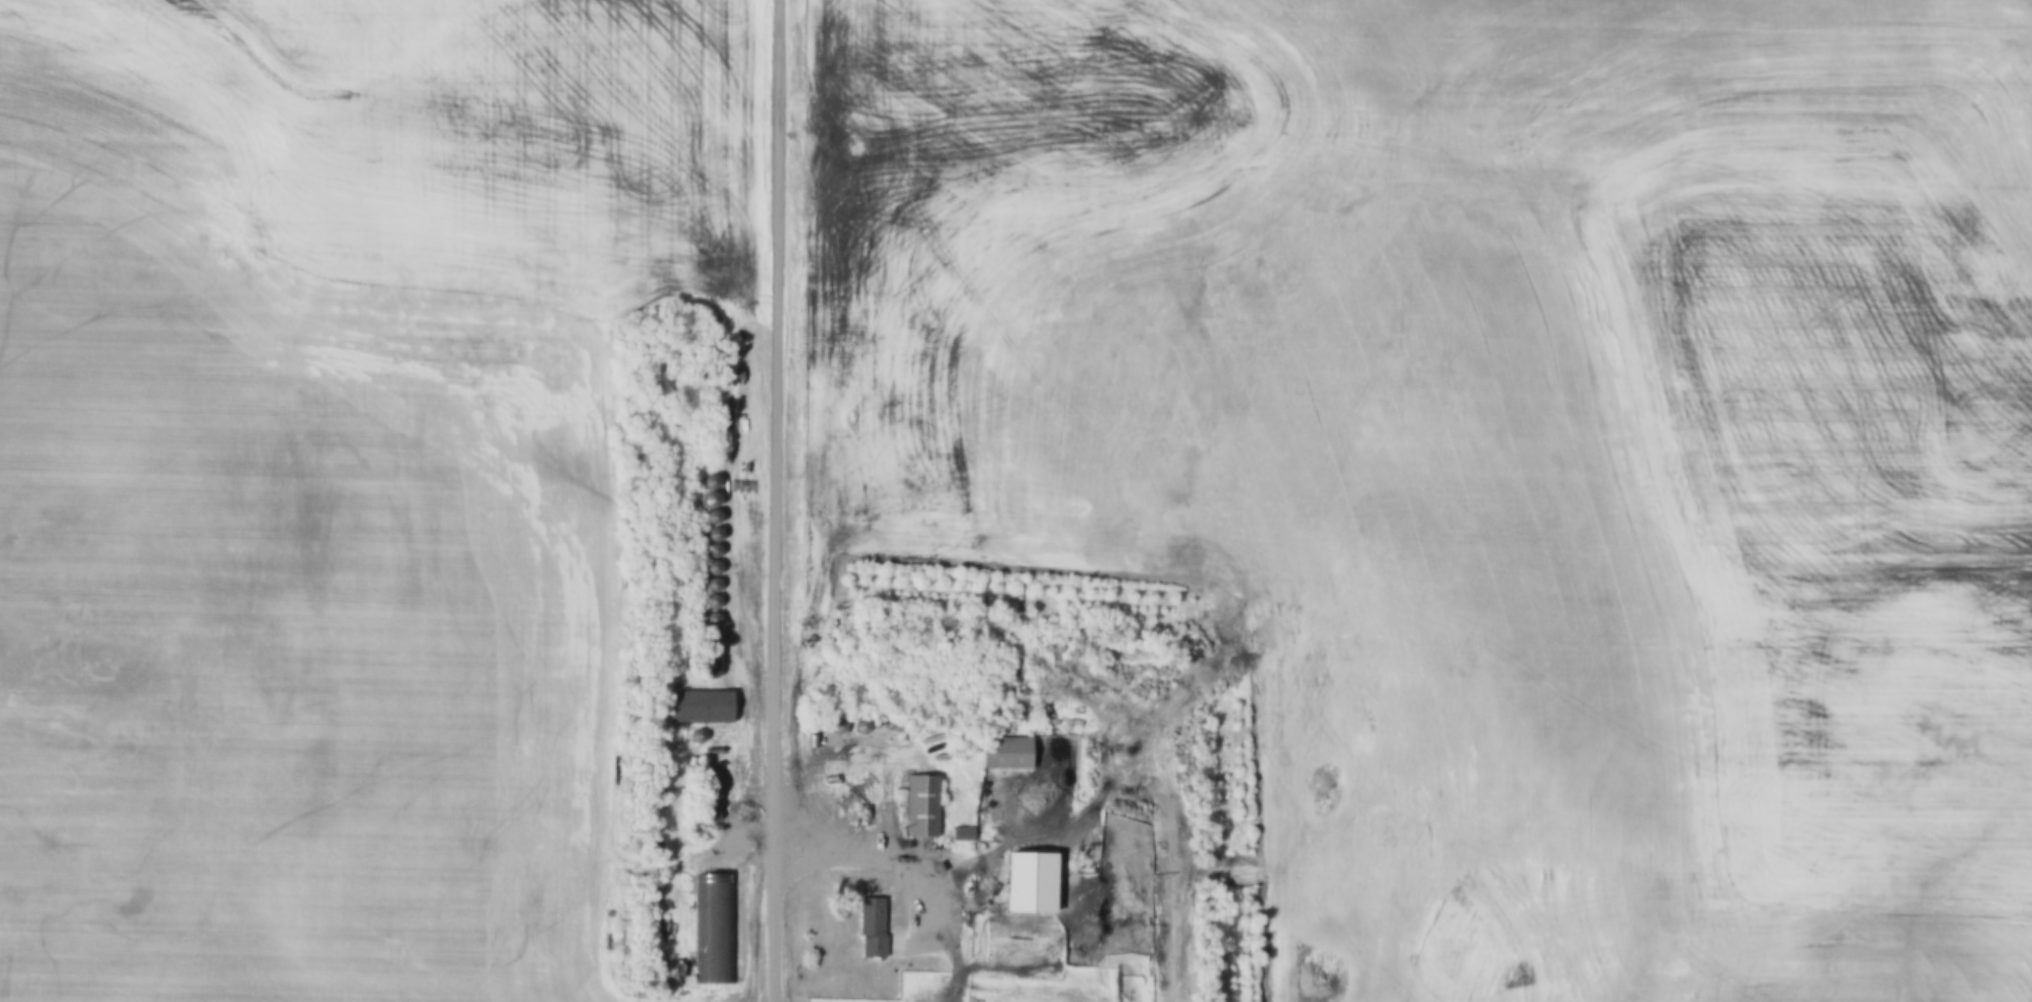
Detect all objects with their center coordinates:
building: (712, 485)
road: (776, 500)
building: (711, 503)
building: (714, 520)
building: (715, 538)
building: (715, 554)
building: (700, 709)
building: (1008, 755)
building: (923, 808)
building: (964, 836)
road: (884, 849)
building: (1029, 886)
building: (717, 929)
building: (872, 929)

